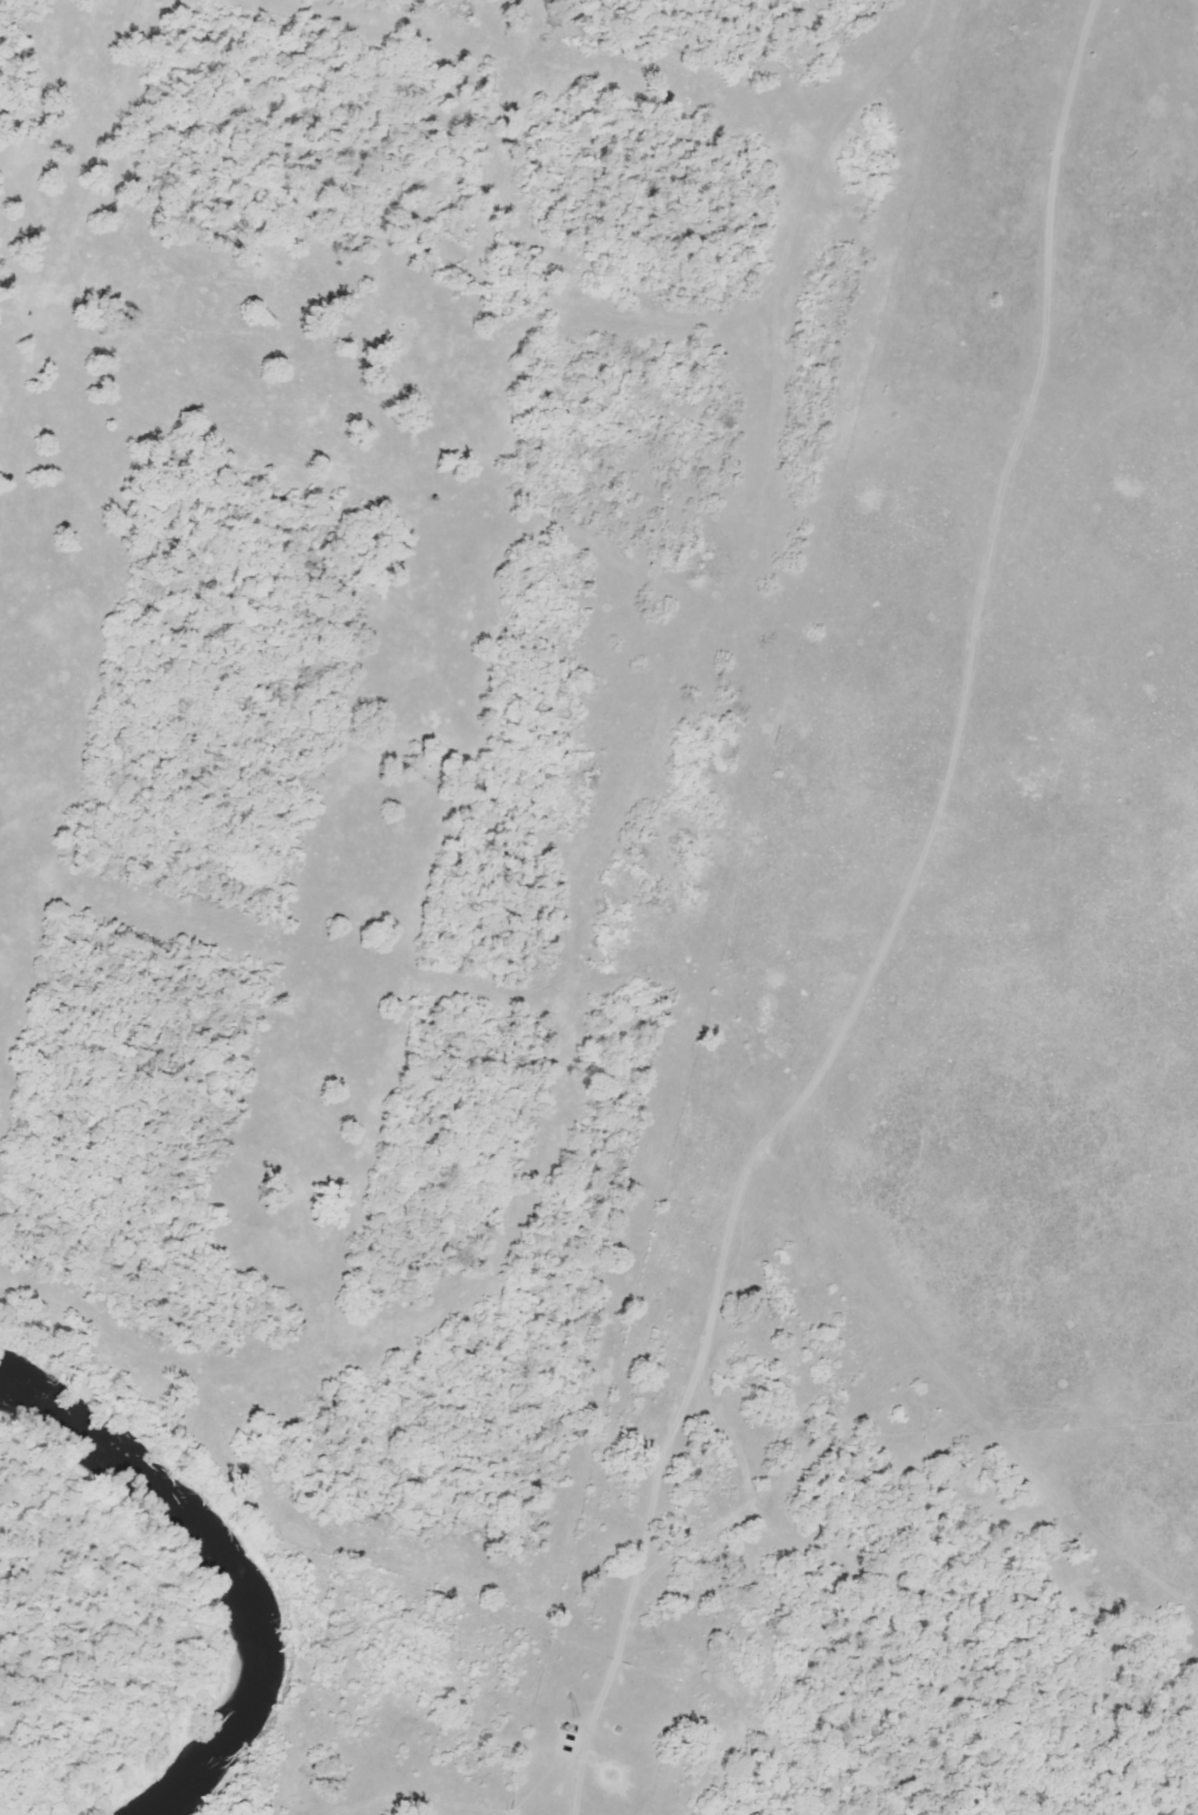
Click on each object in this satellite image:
road: (873, 935)
river: (225, 1564)

